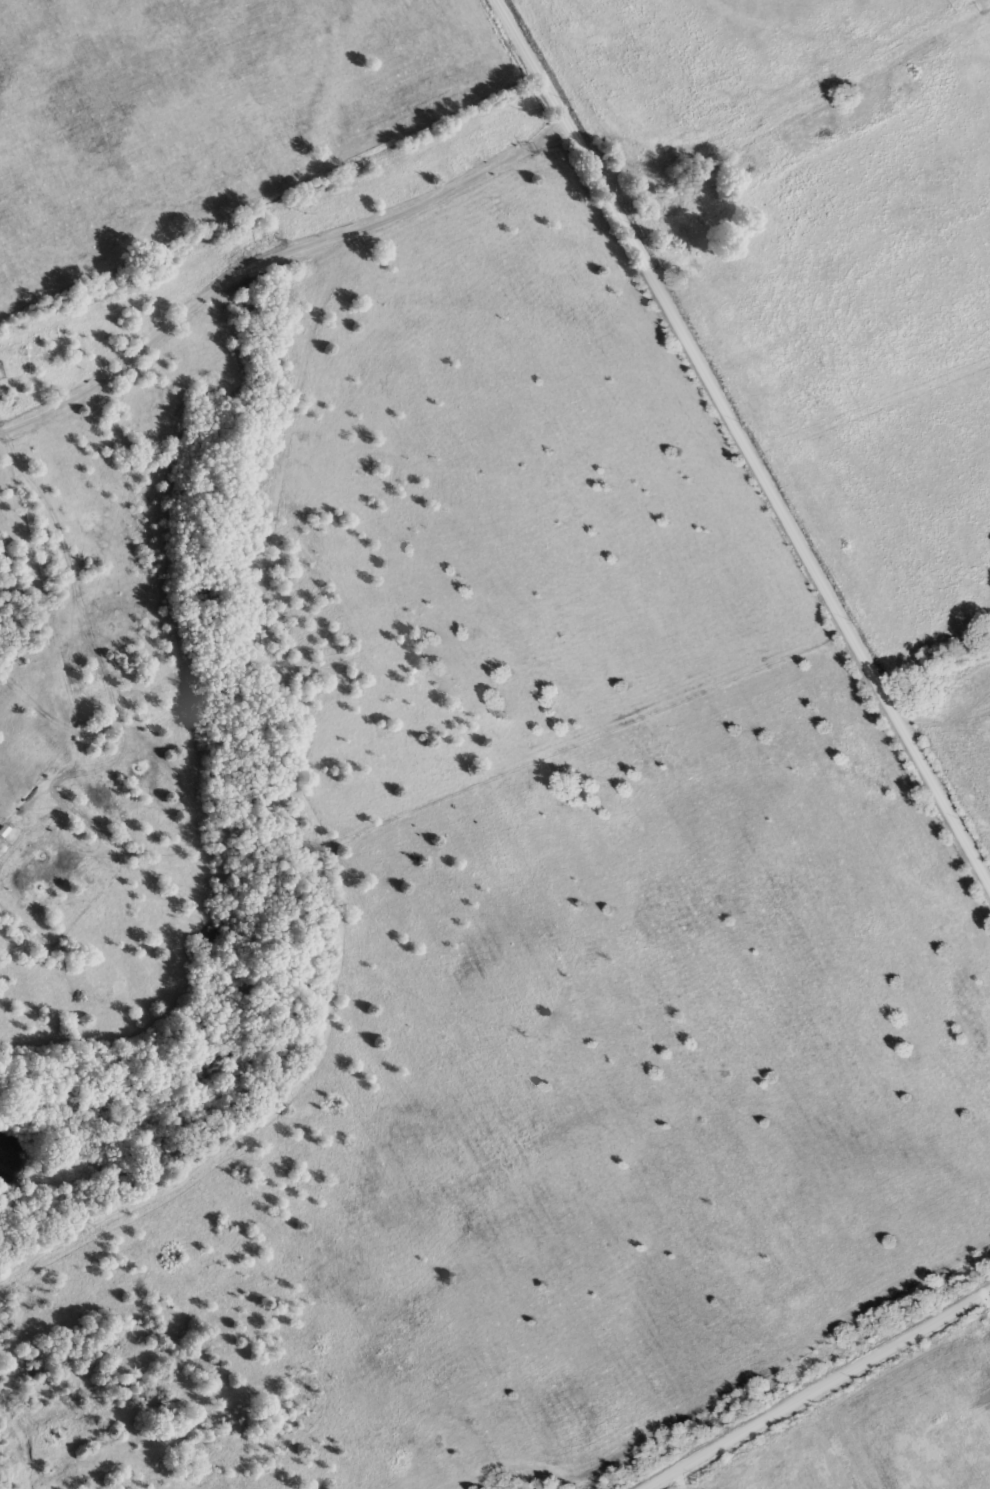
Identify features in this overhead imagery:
road: (273, 258)
road: (871, 403)
road: (745, 437)
road: (816, 1388)
road: (836, 1440)

